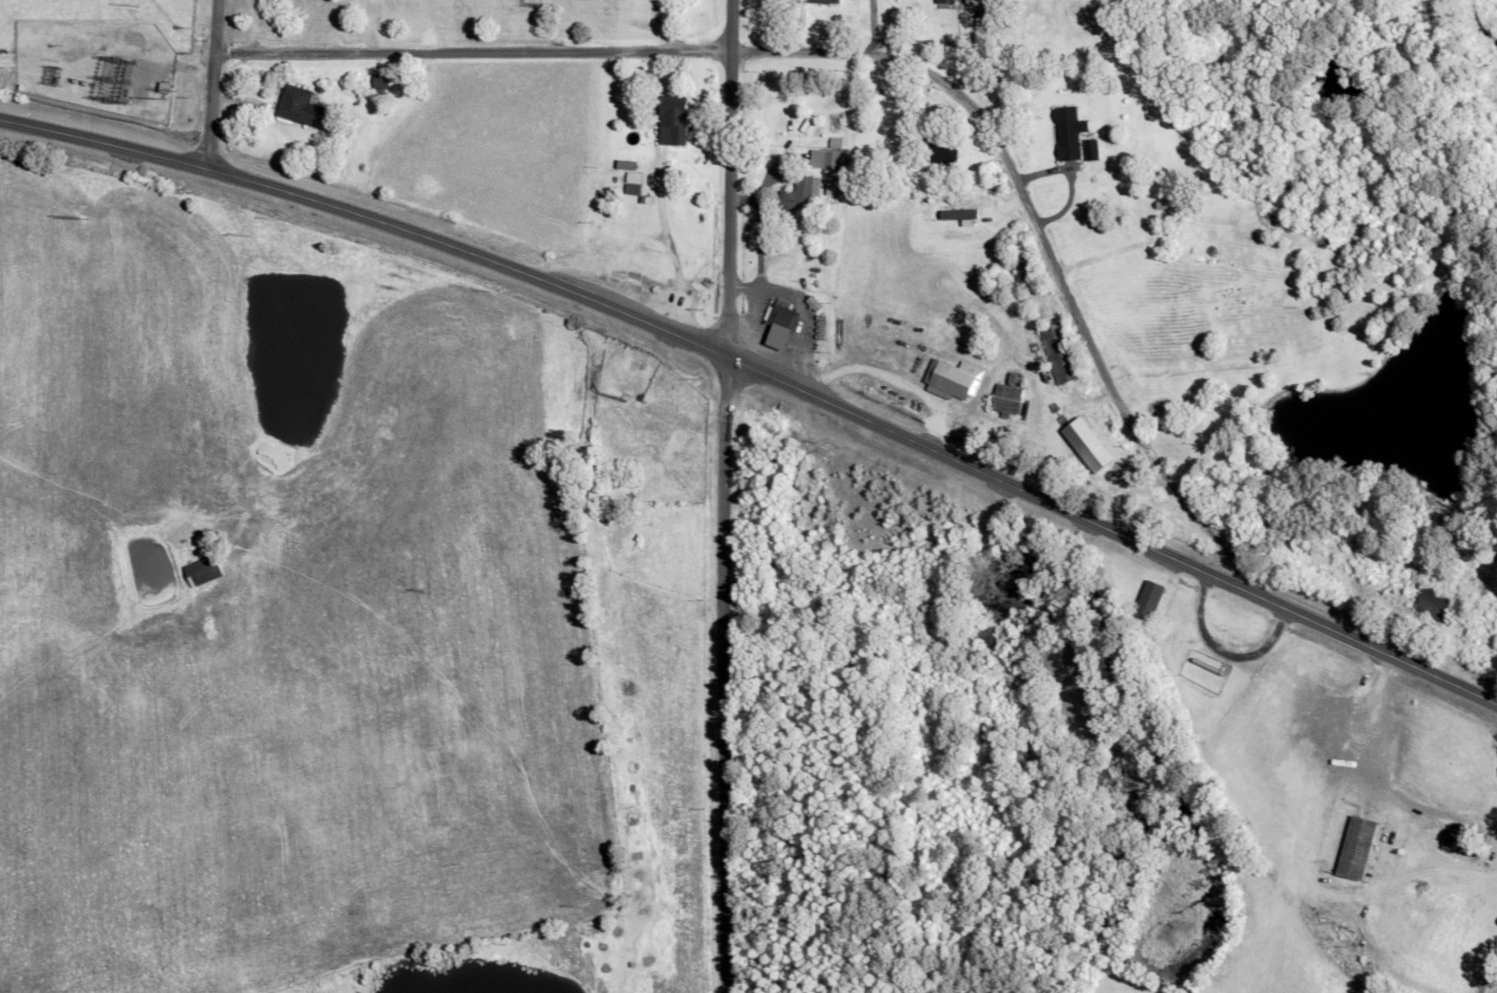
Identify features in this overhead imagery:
building: (825, 2)
road: (869, 27)
road: (880, 58)
power substation: (94, 67)
building: (382, 82)
road: (211, 85)
building: (302, 108)
building: (676, 121)
building: (1069, 134)
building: (940, 154)
building: (833, 161)
road: (727, 178)
building: (798, 197)
building: (959, 222)
building: (602, 250)
building: (644, 262)
building: (1026, 272)
building: (972, 324)
building: (783, 325)
building: (1060, 355)
building: (612, 360)
road: (762, 374)
building: (949, 378)
building: (1010, 397)
building: (1107, 468)
road: (896, 587)
building: (1149, 602)
building: (1436, 605)
building: (984, 638)
road: (721, 674)
road: (1208, 787)
building: (1468, 849)
building: (1358, 850)
road: (1476, 953)

